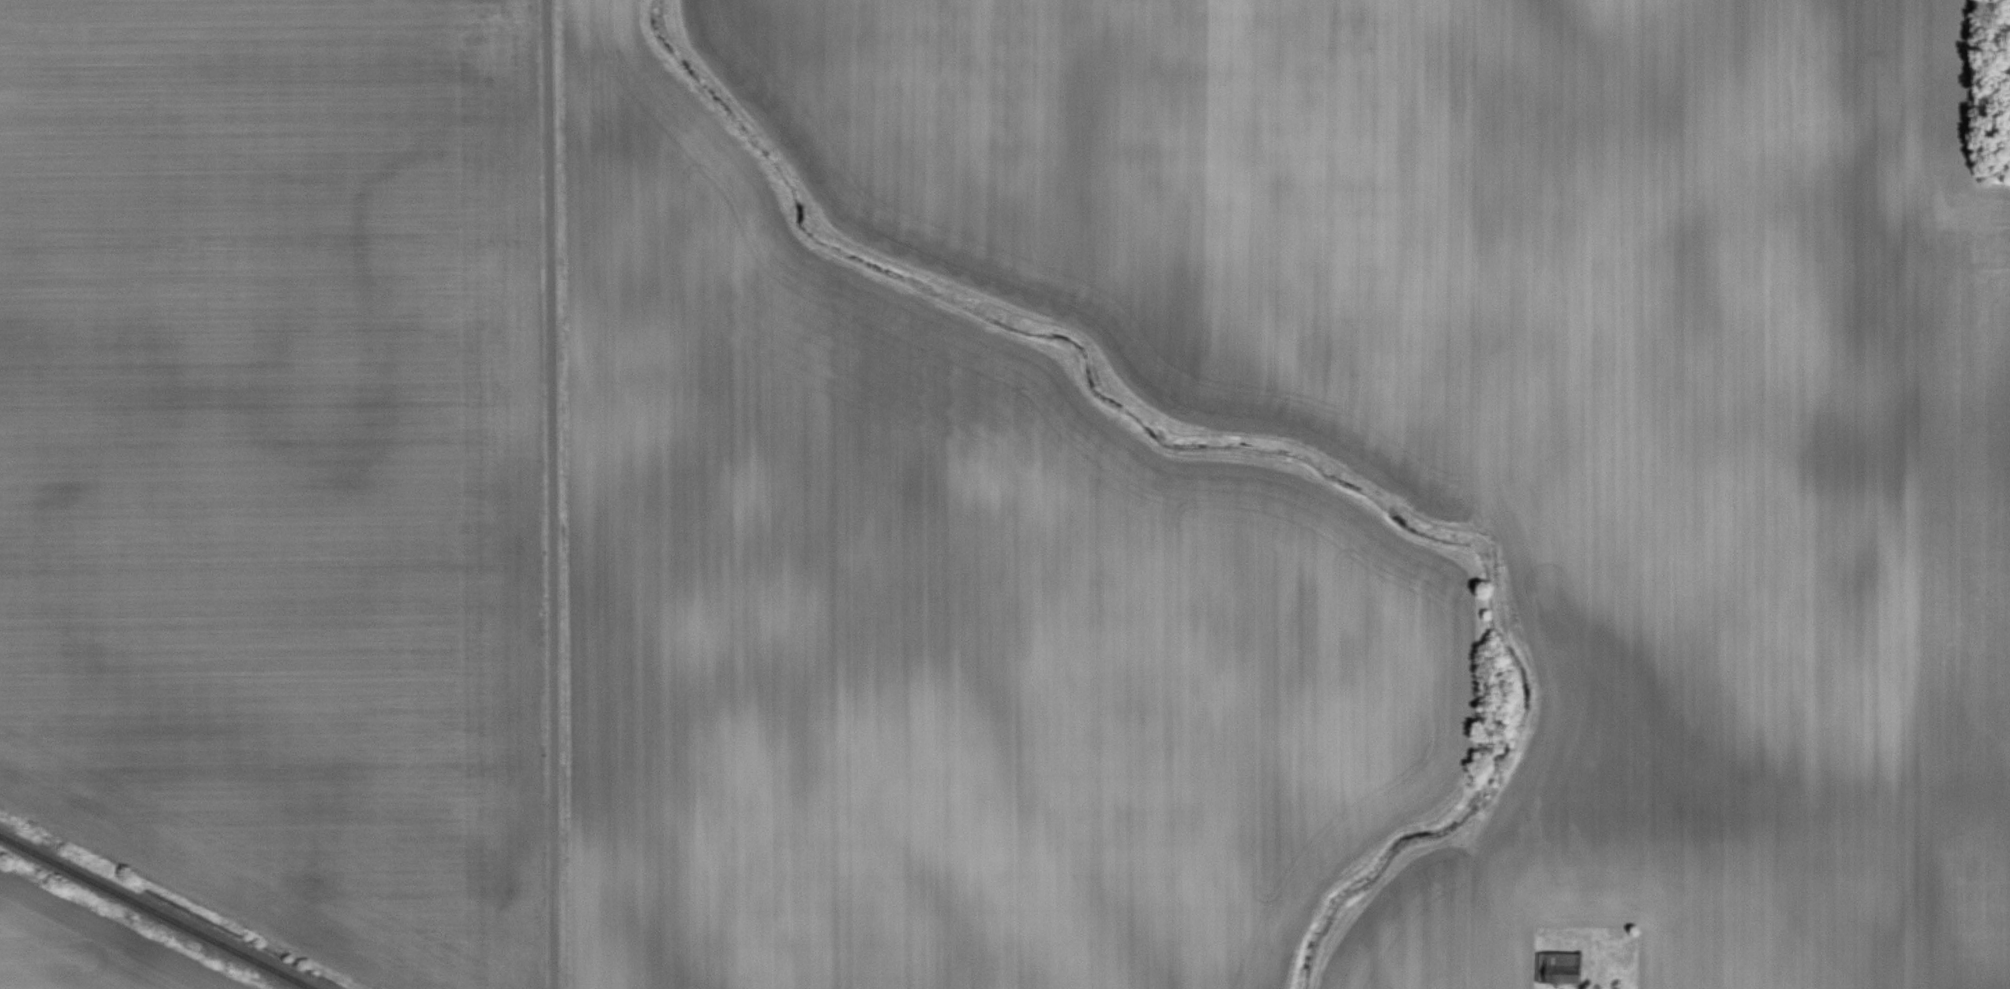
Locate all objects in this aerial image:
road: (548, 494)
railway: (159, 911)

